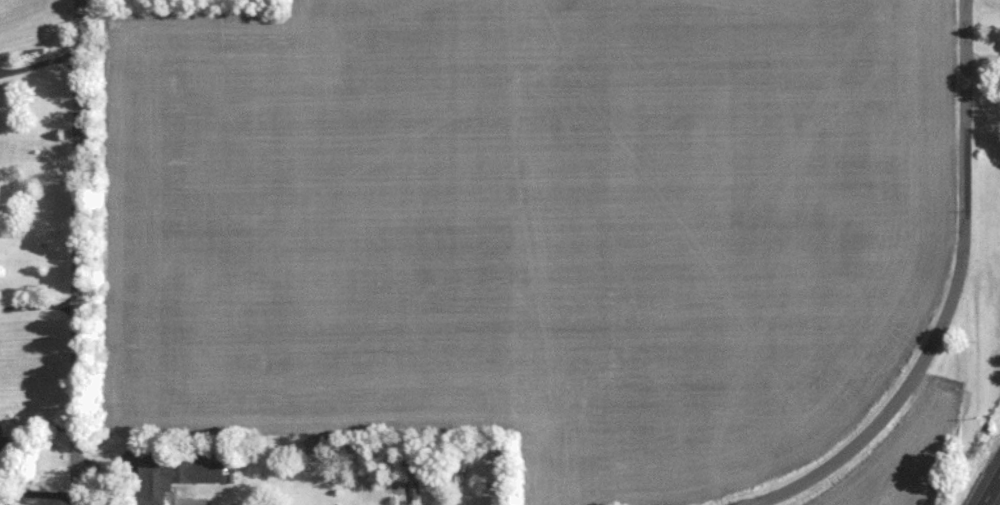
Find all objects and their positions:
road: (983, 58)
road: (40, 63)
road: (78, 252)
road: (955, 296)
road: (39, 305)
building: (6, 454)
building: (448, 474)
building: (173, 478)
road: (991, 490)
road: (38, 492)

